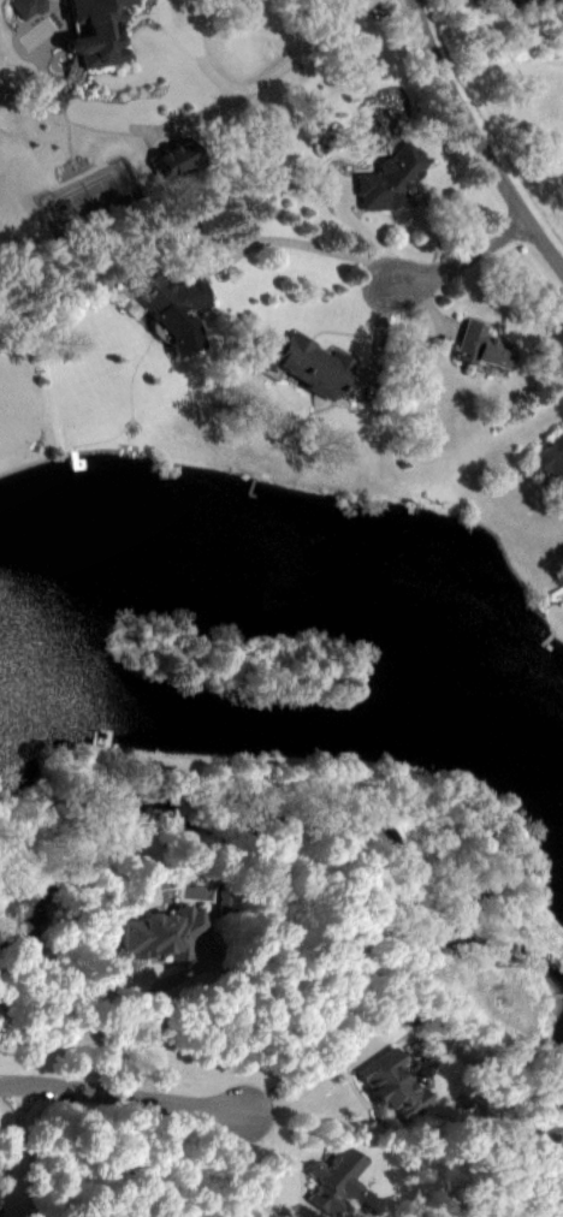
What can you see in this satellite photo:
building: (35, 20)
building: (103, 40)
road: (266, 100)
road: (476, 141)
building: (182, 176)
building: (396, 195)
road: (313, 245)
road: (461, 250)
building: (177, 323)
building: (490, 363)
building: (309, 380)
building: (551, 476)
building: (174, 951)
road: (149, 1010)
road: (310, 1081)
road: (125, 1093)
building: (396, 1100)
building: (342, 1192)
building: (0, 1210)

